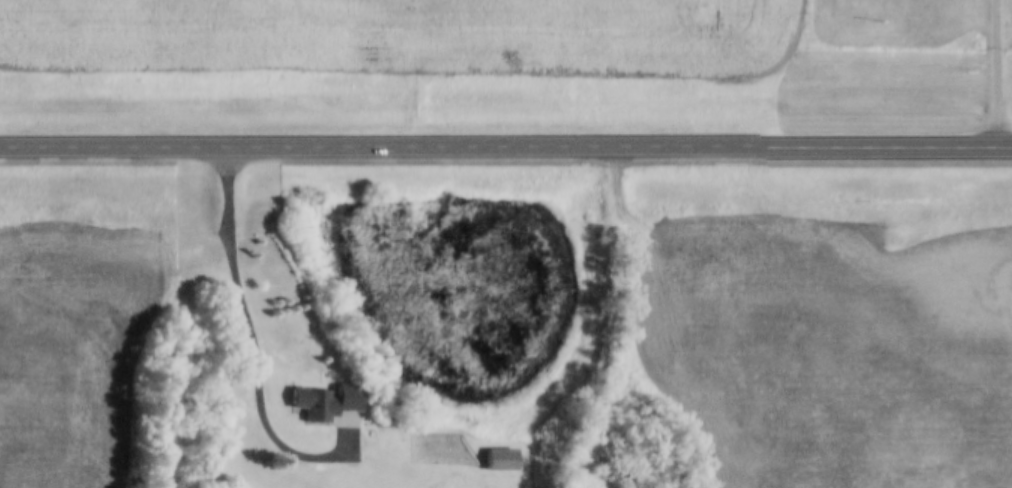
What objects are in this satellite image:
road: (999, 73)
road: (506, 144)
road: (252, 351)
building: (329, 405)
building: (500, 461)

